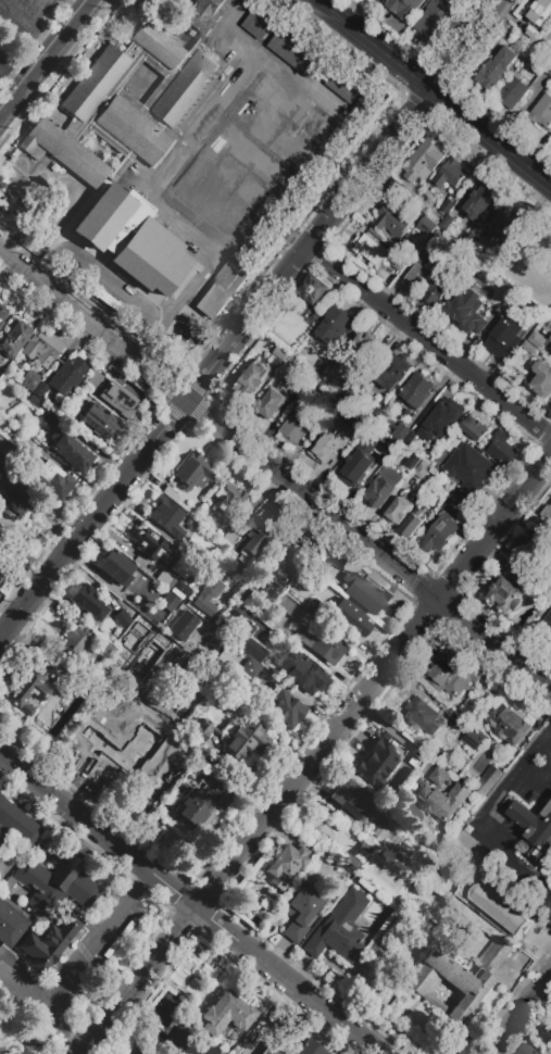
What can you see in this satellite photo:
building: (377, 0)
building: (448, 0)
road: (82, 4)
building: (403, 8)
building: (540, 12)
building: (206, 14)
parking lot: (29, 17)
building: (434, 20)
building: (261, 22)
road: (28, 27)
building: (533, 35)
building: (296, 49)
building: (7, 58)
road: (47, 60)
building: (496, 68)
building: (548, 68)
road: (11, 83)
building: (346, 85)
road: (434, 90)
building: (512, 93)
building: (231, 96)
building: (363, 102)
building: (121, 105)
building: (541, 111)
building: (314, 129)
building: (423, 160)
building: (450, 174)
building: (409, 195)
building: (480, 202)
building: (447, 206)
building: (108, 219)
building: (393, 221)
building: (504, 222)
building: (447, 223)
building: (427, 226)
building: (370, 249)
building: (433, 249)
building: (491, 255)
building: (396, 261)
road: (93, 271)
building: (417, 276)
building: (223, 286)
building: (314, 292)
building: (435, 293)
building: (511, 296)
building: (467, 309)
building: (3, 313)
road: (250, 317)
building: (320, 317)
building: (334, 326)
road: (90, 328)
building: (550, 331)
building: (15, 337)
building: (503, 338)
building: (538, 342)
road: (429, 343)
building: (549, 344)
building: (359, 346)
building: (42, 348)
building: (550, 352)
building: (280, 354)
building: (392, 372)
building: (67, 373)
building: (92, 378)
building: (29, 379)
building: (541, 380)
building: (252, 381)
building: (350, 389)
building: (40, 390)
building: (297, 390)
building: (364, 394)
building: (412, 397)
building: (118, 400)
building: (35, 402)
building: (270, 404)
building: (331, 410)
building: (67, 416)
building: (99, 421)
building: (440, 422)
building: (392, 425)
building: (297, 426)
building: (363, 426)
building: (474, 429)
building: (402, 434)
building: (502, 449)
building: (4, 450)
building: (384, 450)
building: (70, 451)
building: (327, 451)
building: (425, 454)
building: (413, 463)
building: (1, 464)
building: (467, 467)
building: (354, 468)
building: (192, 470)
building: (421, 470)
building: (51, 479)
building: (383, 488)
building: (170, 492)
building: (18, 497)
building: (460, 498)
building: (231, 502)
building: (398, 511)
building: (547, 513)
building: (167, 517)
building: (412, 525)
building: (439, 532)
building: (258, 534)
building: (230, 540)
building: (151, 544)
road: (366, 544)
building: (201, 555)
building: (533, 555)
building: (114, 565)
building: (318, 566)
building: (278, 573)
building: (164, 577)
building: (179, 589)
building: (364, 592)
building: (509, 592)
building: (242, 593)
building: (208, 597)
building: (87, 603)
building: (164, 607)
building: (288, 608)
building: (122, 618)
building: (350, 618)
building: (184, 625)
building: (547, 625)
building: (74, 644)
building: (323, 647)
building: (249, 648)
building: (109, 653)
building: (251, 672)
building: (304, 674)
building: (452, 674)
building: (33, 685)
building: (484, 697)
building: (284, 706)
building: (424, 717)
building: (506, 726)
building: (201, 729)
road: (549, 729)
road: (397, 737)
building: (243, 739)
building: (474, 739)
building: (122, 743)
road: (315, 756)
building: (375, 763)
building: (204, 765)
building: (439, 776)
building: (489, 780)
road: (501, 793)
building: (352, 800)
building: (443, 801)
building: (199, 804)
building: (535, 829)
building: (467, 845)
building: (356, 854)
building: (286, 864)
building: (38, 875)
road: (139, 882)
building: (8, 883)
road: (187, 904)
building: (493, 908)
building: (300, 911)
building: (339, 928)
building: (48, 942)
road: (85, 949)
building: (376, 950)
building: (201, 966)
building: (456, 976)
road: (508, 1000)
road: (43, 1007)
building: (226, 1014)
road: (519, 1014)
road: (529, 1027)
building: (546, 1034)
road: (16, 1039)
building: (310, 1047)
building: (528, 1050)
building: (270, 1051)
building: (0, 1053)

